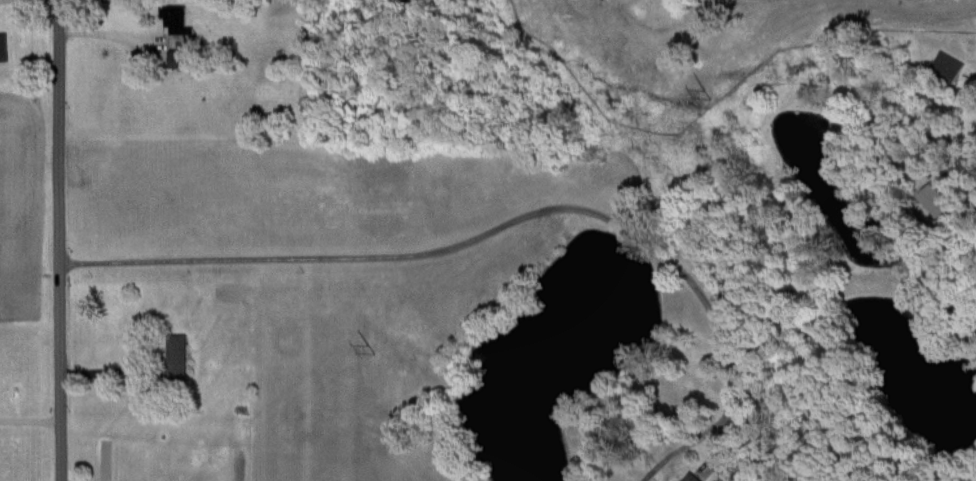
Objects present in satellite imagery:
road: (27, 3)
building: (173, 18)
road: (105, 32)
building: (2, 47)
building: (175, 57)
building: (946, 66)
road: (972, 81)
power tower: (705, 95)
road: (488, 237)
road: (57, 240)
power tower: (376, 345)
building: (174, 352)
road: (108, 367)
road: (29, 420)
building: (689, 477)

